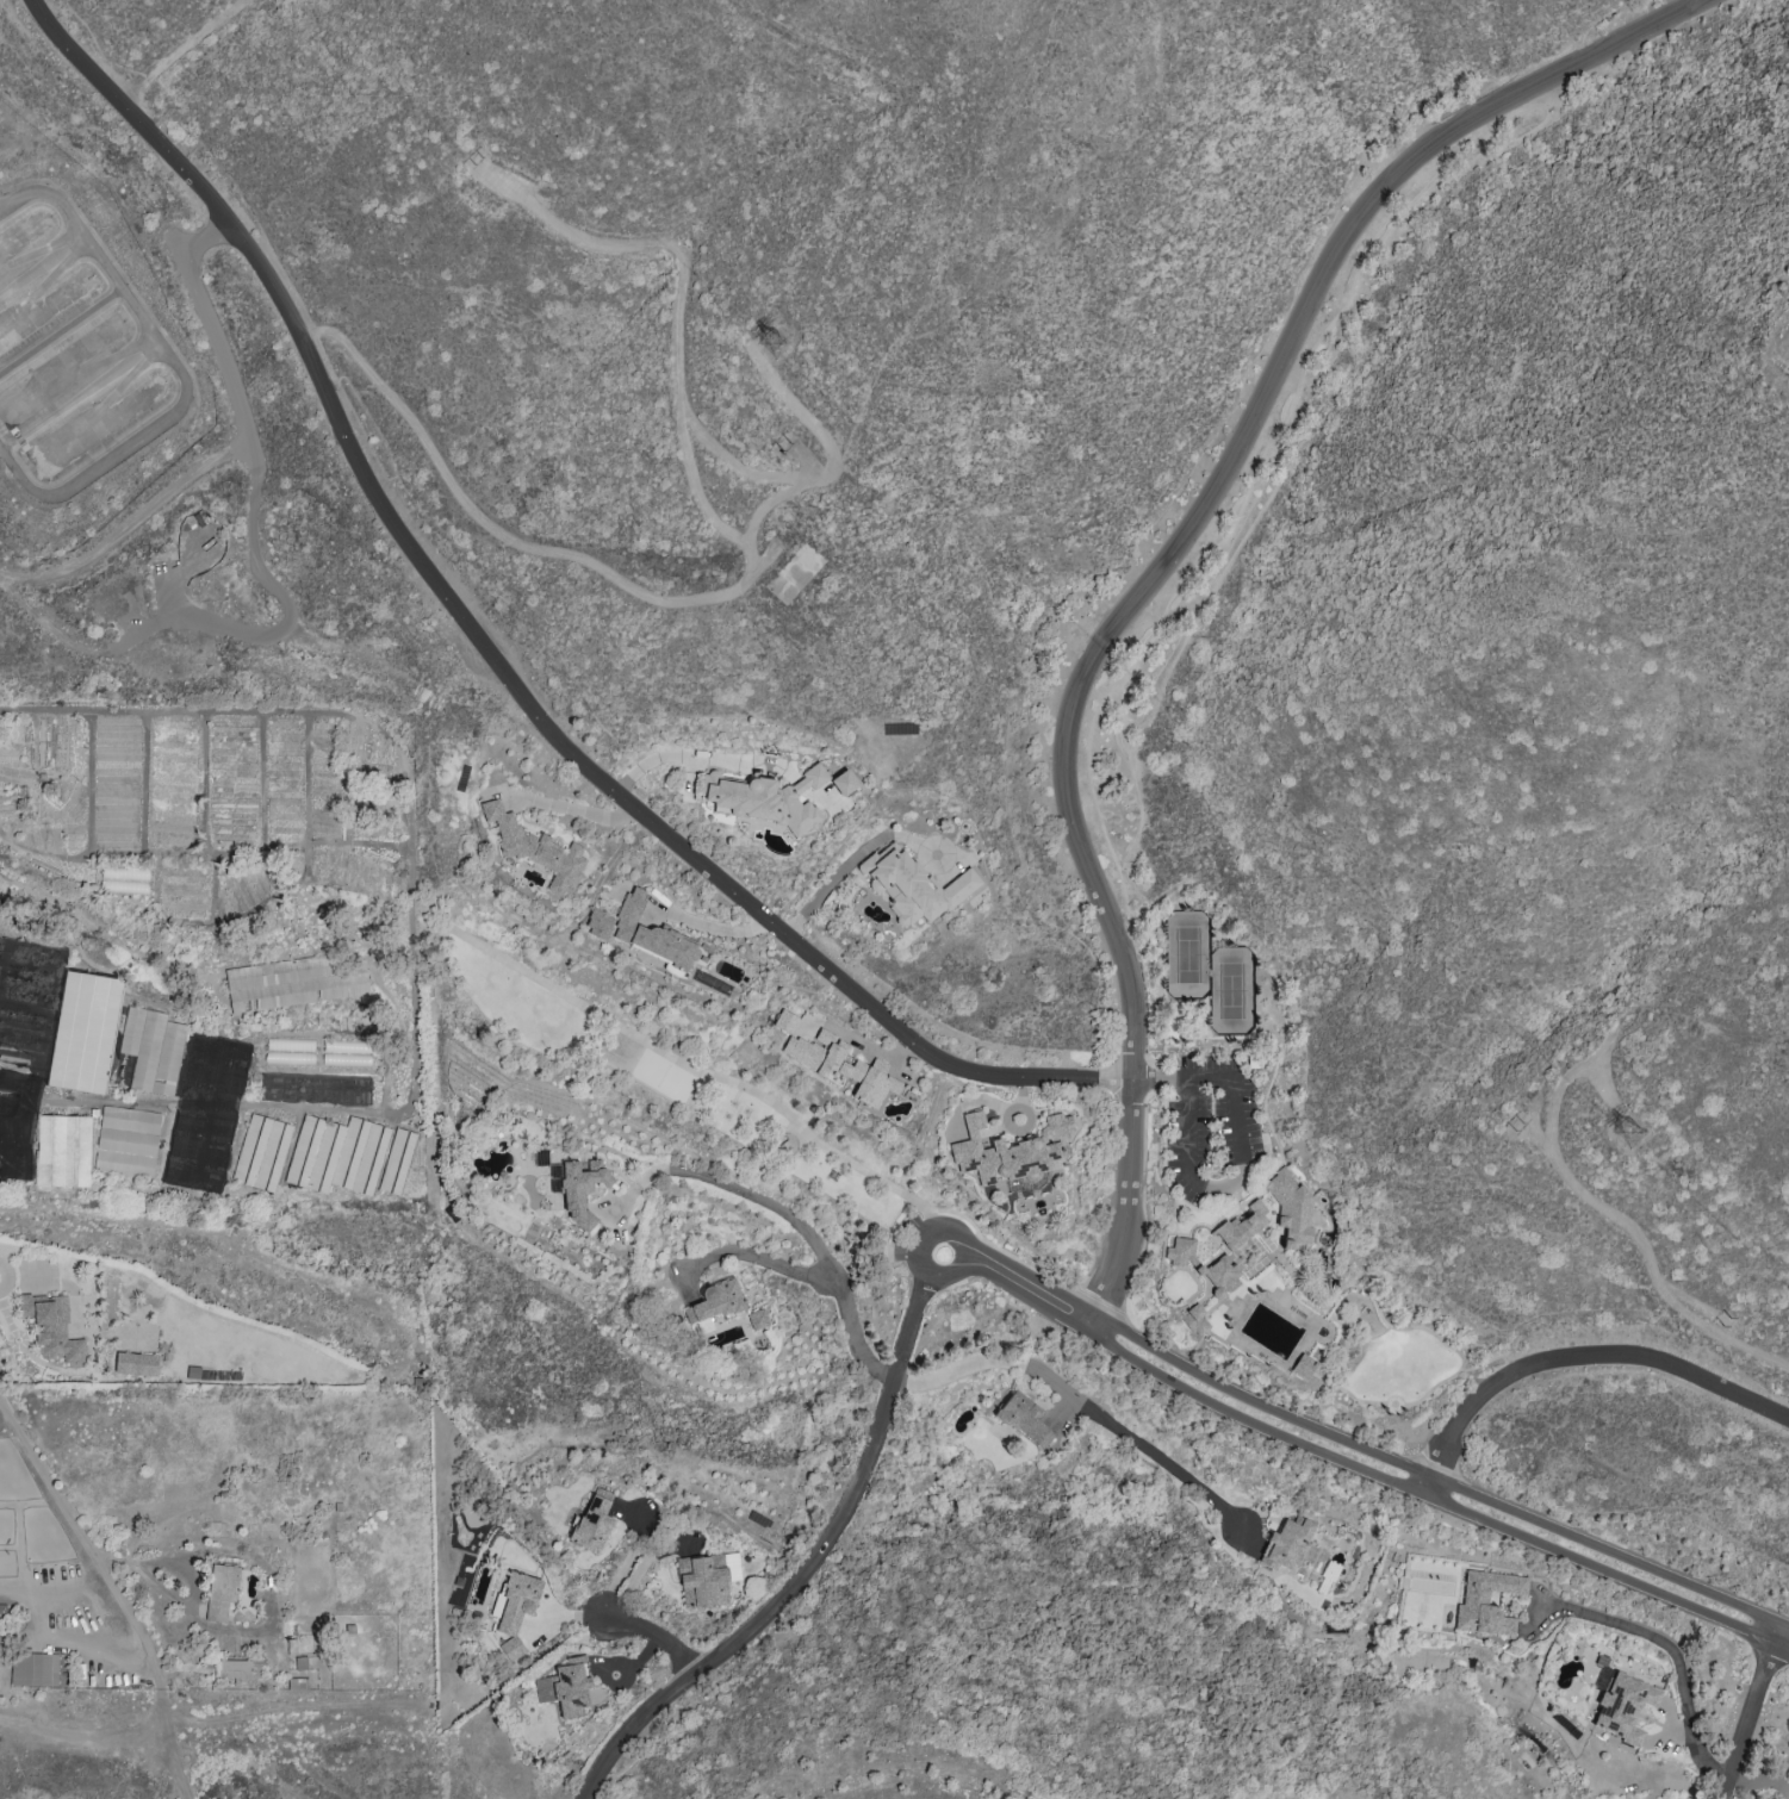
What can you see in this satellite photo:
road: (169, 49)
road: (64, 55)
power tower: (474, 163)
power tower: (781, 351)
power tower: (787, 446)
road: (828, 447)
road: (231, 449)
road: (1209, 494)
road: (745, 579)
road: (288, 616)
road: (529, 701)
road: (679, 754)
building: (844, 783)
building: (825, 795)
building: (768, 798)
road: (564, 807)
building: (534, 848)
road: (831, 878)
building: (913, 885)
building: (598, 923)
road: (707, 927)
building: (650, 933)
road: (411, 934)
building: (294, 982)
building: (785, 1021)
building: (83, 1033)
building: (153, 1050)
building: (290, 1051)
building: (840, 1065)
building: (19, 1126)
power tower: (1520, 1127)
power tower: (1632, 1138)
building: (126, 1141)
building: (63, 1151)
building: (261, 1152)
building: (1012, 1153)
building: (337, 1154)
road: (1241, 1158)
building: (397, 1160)
building: (582, 1189)
road: (738, 1189)
road: (1607, 1208)
building: (1291, 1209)
building: (1242, 1226)
road: (961, 1246)
road: (1123, 1246)
building: (1181, 1251)
road: (813, 1274)
building: (1219, 1275)
road: (1027, 1288)
building: (714, 1301)
building: (758, 1319)
building: (1194, 1320)
power tower: (1726, 1324)
building: (51, 1327)
road: (1577, 1358)
building: (137, 1364)
building: (1303, 1367)
road: (1077, 1400)
building: (1024, 1419)
road: (1436, 1479)
road: (1430, 1500)
building: (594, 1520)
road: (83, 1538)
building: (1286, 1544)
road: (803, 1568)
building: (707, 1579)
building: (220, 1593)
building: (1486, 1602)
building: (2, 1608)
road: (660, 1635)
road: (1672, 1651)
building: (235, 1668)
building: (33, 1669)
building: (298, 1683)
building: (566, 1686)
building: (1623, 1707)
road: (1746, 1708)
road: (88, 1735)
road: (172, 1742)
road: (1758, 1770)
road: (1782, 1778)

